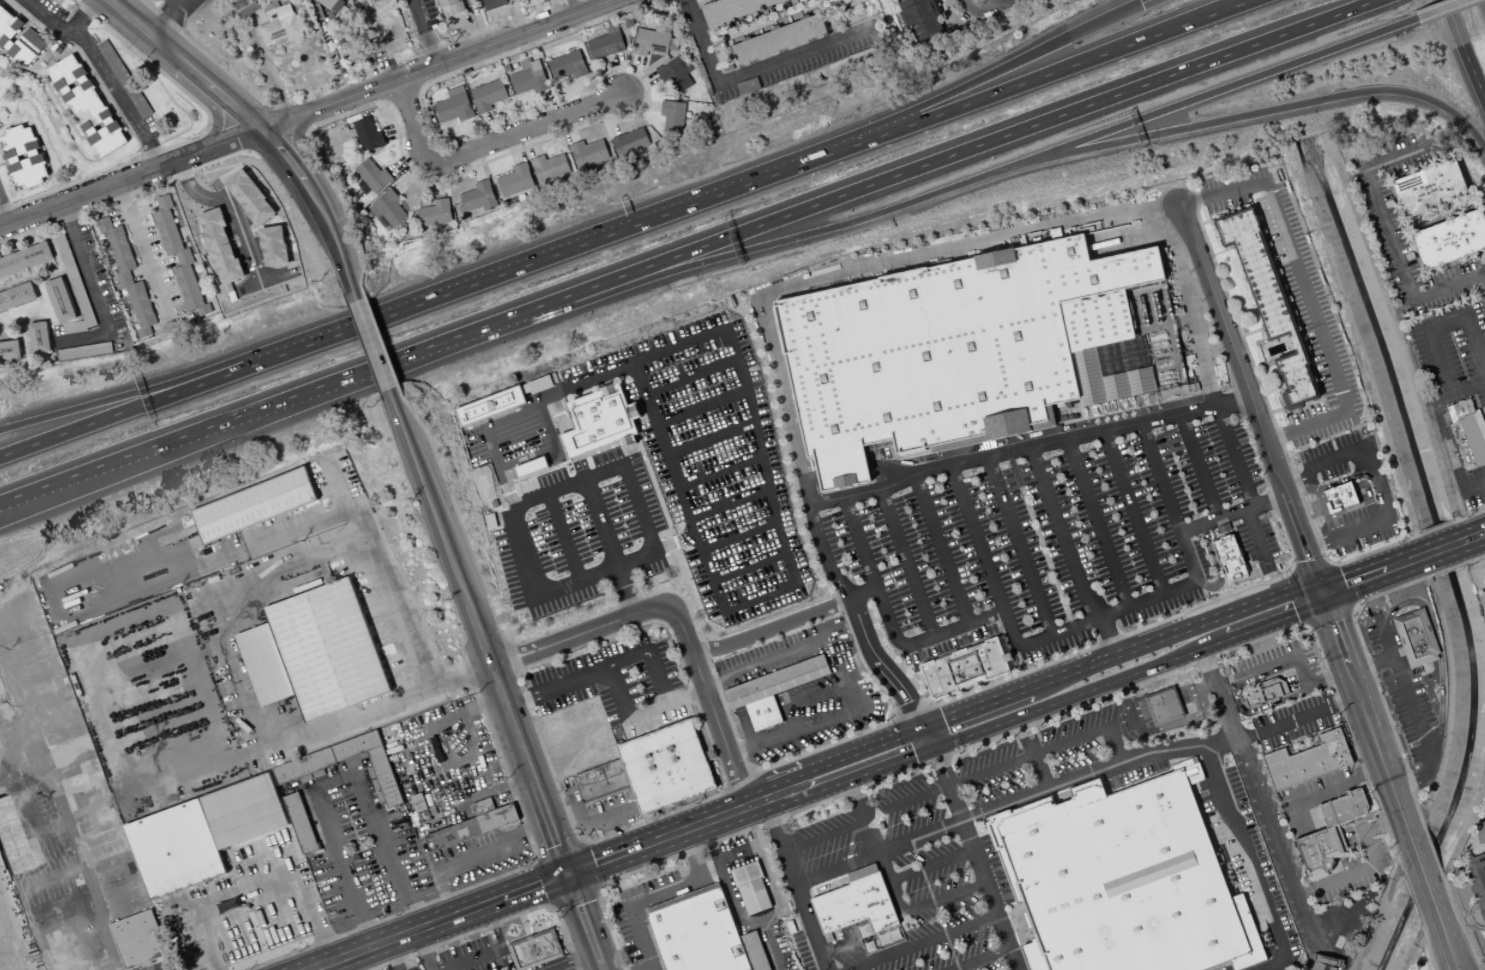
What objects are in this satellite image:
building: (949, 1)
road: (1145, 2)
building: (332, 4)
building: (492, 4)
road: (188, 5)
traffic signals: (1140, 5)
building: (246, 7)
building: (732, 8)
road: (1440, 8)
building: (450, 9)
road: (989, 10)
road: (82, 17)
building: (914, 19)
building: (283, 20)
road: (169, 21)
building: (7, 33)
road: (424, 33)
building: (652, 40)
building: (778, 40)
building: (605, 43)
road: (1463, 50)
road: (183, 64)
building: (566, 65)
road: (440, 66)
road: (465, 67)
road: (756, 70)
road: (105, 71)
building: (674, 74)
building: (527, 77)
building: (123, 78)
road: (963, 86)
road: (1018, 86)
road: (1213, 91)
building: (487, 95)
building: (86, 105)
building: (453, 105)
road: (1257, 112)
building: (672, 117)
road: (278, 121)
building: (367, 134)
building: (629, 142)
road: (485, 148)
building: (588, 153)
building: (22, 156)
road: (920, 167)
building: (549, 169)
road: (296, 174)
building: (372, 175)
road: (130, 178)
building: (515, 180)
building: (1429, 188)
building: (249, 196)
building: (477, 198)
road: (230, 207)
building: (386, 210)
building: (435, 213)
road: (1218, 214)
road: (3, 215)
road: (1389, 234)
building: (1450, 240)
building: (273, 245)
building: (220, 249)
road: (145, 251)
road: (738, 251)
road: (1222, 251)
building: (177, 255)
road: (554, 255)
building: (24, 259)
road: (342, 262)
road: (863, 264)
building: (127, 275)
road: (1482, 281)
road: (92, 290)
building: (77, 292)
road: (1306, 293)
building: (16, 296)
building: (60, 300)
building: (1269, 302)
road: (1190, 305)
road: (1426, 329)
road: (1252, 331)
road: (378, 334)
building: (38, 337)
road: (370, 344)
building: (9, 350)
building: (961, 350)
road: (1264, 367)
road: (686, 375)
road: (160, 386)
road: (297, 396)
road: (1279, 397)
road: (160, 398)
road: (1250, 398)
road: (1308, 404)
building: (489, 405)
road: (697, 408)
road: (1270, 416)
building: (596, 420)
road: (1290, 421)
building: (1466, 431)
road: (707, 439)
road: (1028, 447)
road: (1449, 448)
road: (757, 452)
road: (1234, 456)
building: (529, 466)
road: (1199, 466)
road: (717, 469)
road: (890, 469)
road: (842, 474)
road: (1379, 474)
road: (810, 480)
road: (1336, 482)
road: (65, 483)
road: (1310, 485)
road: (1375, 487)
road: (562, 488)
road: (65, 489)
building: (1340, 497)
road: (341, 498)
road: (729, 501)
road: (1319, 503)
building: (253, 505)
road: (1312, 507)
road: (1132, 512)
road: (1231, 512)
road: (1469, 515)
road: (1097, 522)
road: (605, 523)
road: (438, 526)
road: (1436, 527)
road: (1061, 533)
road: (739, 535)
parking lot: (1046, 535)
road: (1472, 536)
road: (270, 537)
road: (857, 538)
road: (562, 540)
road: (1257, 540)
road: (673, 543)
road: (1019, 546)
road: (1441, 548)
road: (941, 549)
building: (1228, 558)
road: (1475, 558)
road: (1405, 562)
road: (1329, 563)
road: (1215, 564)
road: (750, 565)
road: (1312, 567)
road: (1293, 568)
road: (1448, 568)
road: (837, 580)
road: (1353, 581)
road: (1337, 585)
traffic signals: (1321, 593)
road: (1302, 595)
road: (919, 598)
road: (1353, 608)
road: (1327, 613)
road: (1274, 617)
road: (1094, 618)
road: (1306, 624)
road: (214, 628)
road: (889, 628)
road: (577, 633)
road: (1175, 635)
road: (1108, 637)
building: (1416, 637)
road: (506, 644)
road: (1440, 649)
building: (313, 652)
road: (1291, 656)
road: (509, 659)
road: (1298, 664)
road: (1370, 664)
road: (760, 666)
building: (964, 668)
road: (602, 670)
road: (517, 672)
road: (1373, 677)
building: (775, 681)
road: (1253, 683)
parking lot: (636, 685)
road: (1404, 690)
road: (1085, 691)
road: (1197, 691)
building: (1266, 692)
road: (800, 702)
road: (1162, 702)
road: (905, 704)
road: (710, 705)
building: (1166, 706)
road: (1259, 708)
road: (976, 709)
road: (506, 712)
road: (640, 712)
building: (762, 713)
road: (1126, 715)
road: (1297, 718)
road: (446, 722)
road: (1033, 722)
road: (1171, 724)
road: (1367, 724)
road: (825, 730)
road: (939, 745)
road: (474, 746)
traffic signals: (933, 747)
road: (923, 750)
road: (855, 753)
road: (1032, 753)
building: (1307, 759)
road: (1004, 761)
road: (745, 762)
building: (667, 767)
road: (333, 776)
road: (855, 776)
road: (754, 778)
road: (1415, 779)
building: (602, 782)
road: (740, 785)
road: (1055, 787)
road: (1336, 788)
road: (725, 789)
road: (485, 793)
road: (712, 796)
road: (771, 796)
road: (1258, 797)
building: (482, 806)
road: (544, 816)
road: (562, 816)
road: (604, 818)
building: (232, 820)
road: (692, 826)
building: (471, 827)
road: (45, 832)
building: (1481, 832)
road: (614, 834)
building: (1330, 834)
building: (11, 840)
road: (580, 842)
road: (827, 844)
road: (873, 844)
road: (1432, 849)
road: (477, 859)
road: (602, 859)
road: (586, 865)
road: (931, 865)
road: (1260, 866)
road: (1371, 866)
road: (81, 869)
traffic signals: (567, 873)
road: (49, 878)
road: (1423, 878)
road: (260, 880)
building: (1122, 880)
building: (1476, 881)
road: (795, 884)
road: (533, 885)
road: (597, 887)
building: (753, 887)
road: (658, 895)
road: (989, 895)
road: (1411, 895)
road: (943, 898)
building: (855, 903)
road: (421, 907)
road: (762, 918)
road: (584, 921)
road: (1460, 922)
road: (494, 924)
road: (481, 927)
road: (1480, 927)
road: (1340, 930)
road: (72, 932)
building: (703, 934)
road: (407, 935)
road: (1444, 936)
building: (137, 939)
road: (922, 942)
road: (770, 944)
road: (1427, 946)
road: (9, 948)
building: (534, 949)
road: (423, 950)
road: (1324, 953)
road: (395, 956)
road: (468, 957)
road: (978, 958)
road: (565, 959)
road: (1322, 959)
building: (1329, 960)
road: (1321, 961)
road: (159, 966)
road: (1319, 966)
building: (1321, 966)
road: (652, 969)

